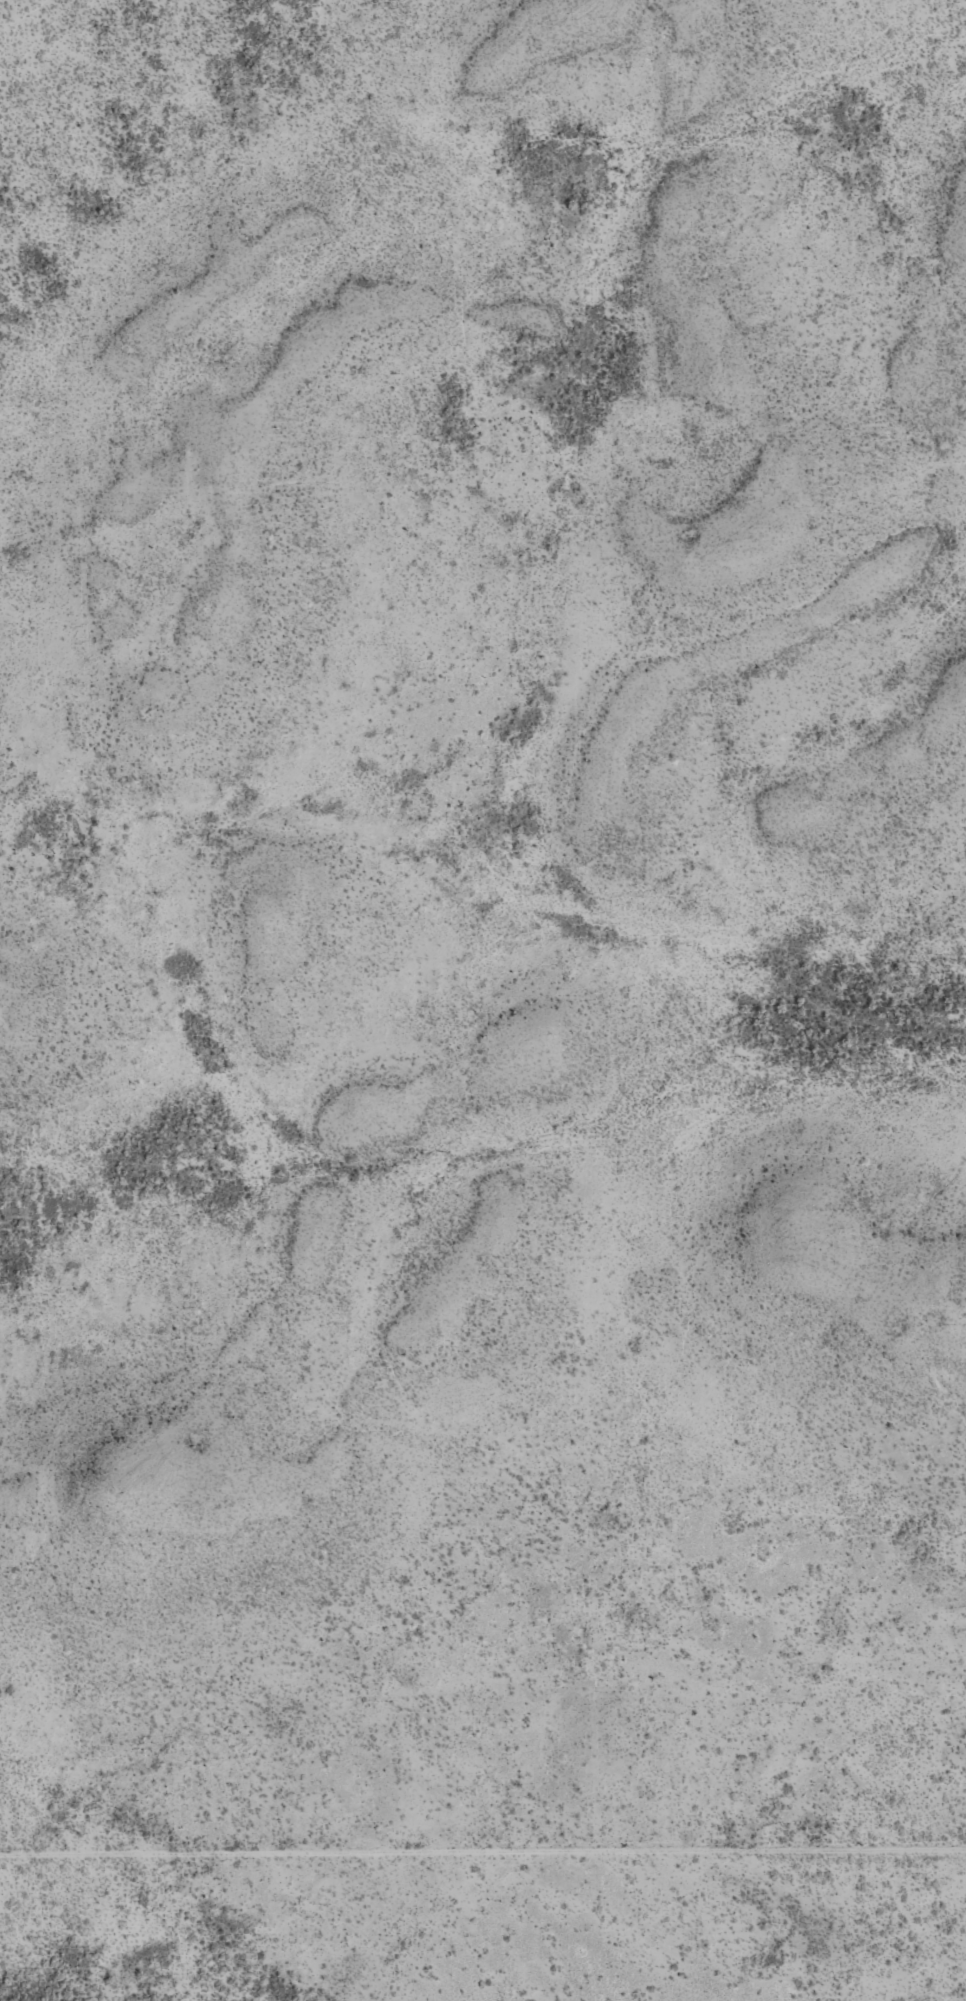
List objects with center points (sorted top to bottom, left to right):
road: (482, 1777)

